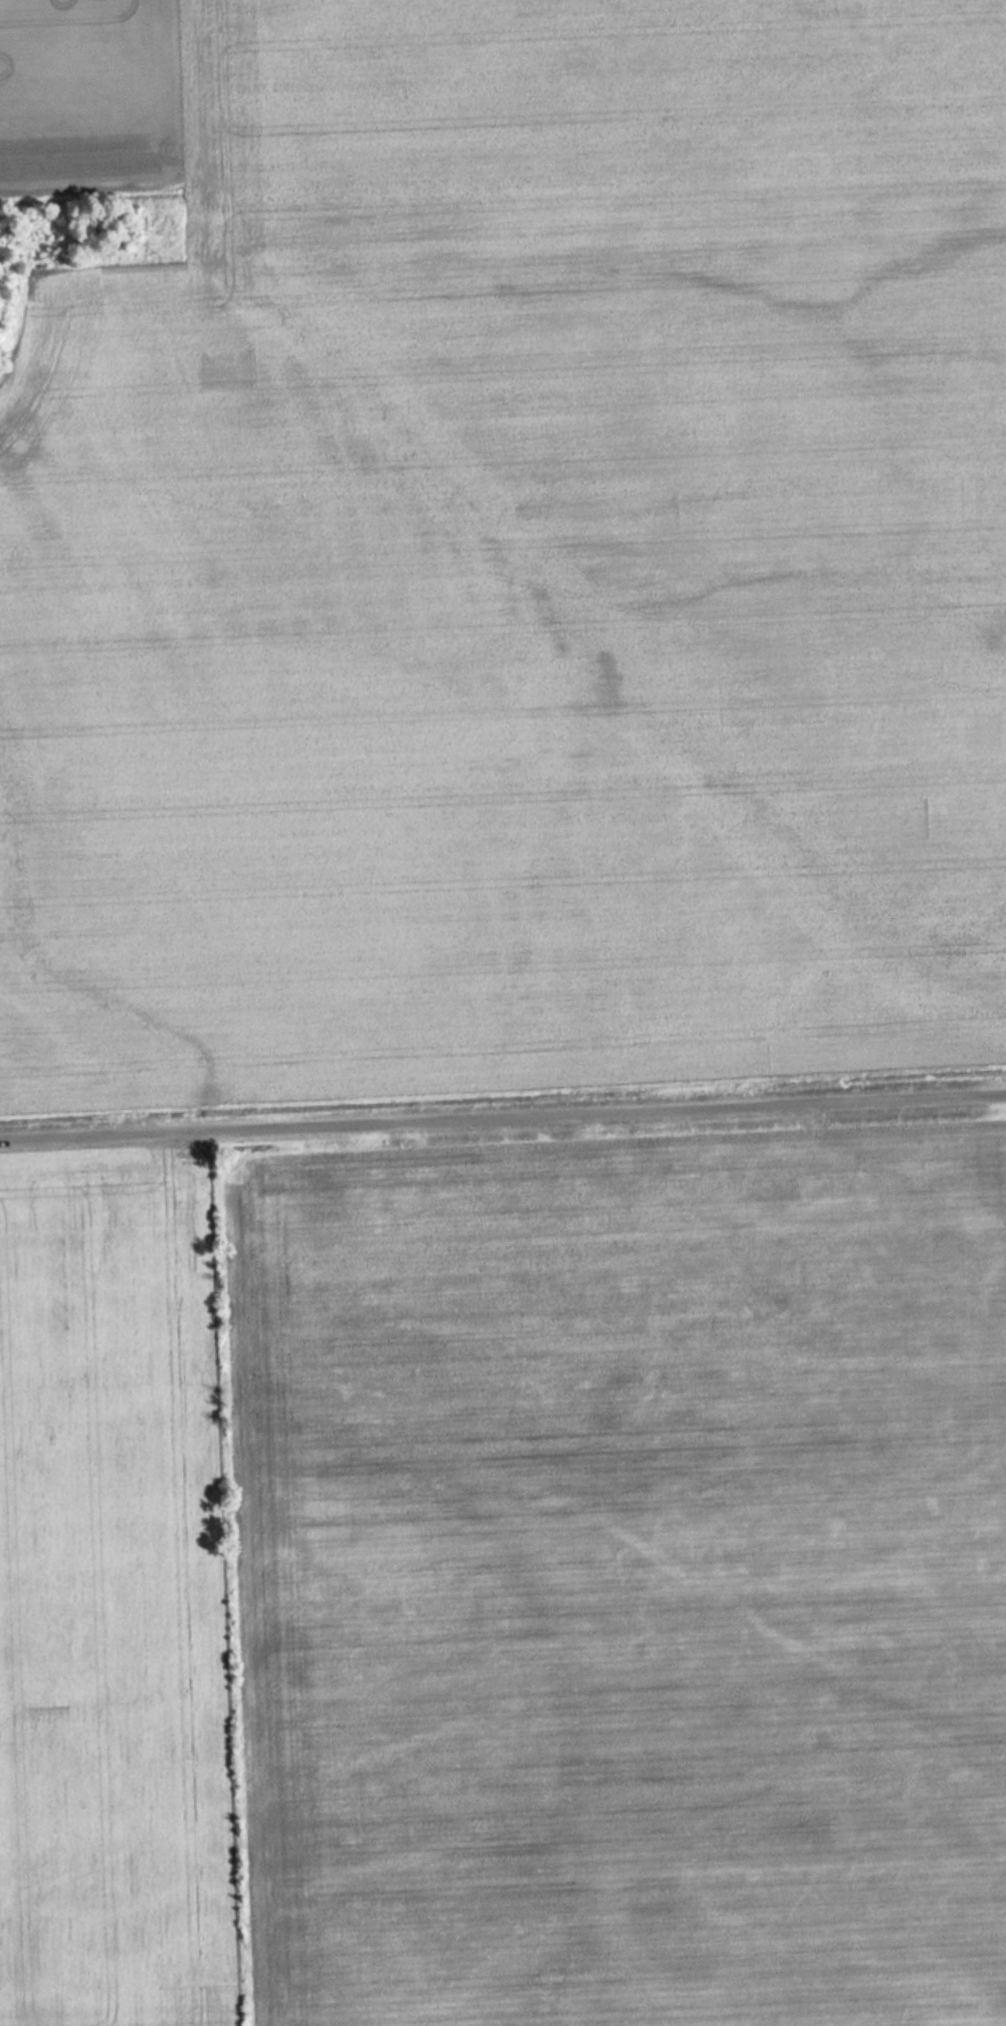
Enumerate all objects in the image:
crop: (506, 547)
road: (502, 1113)

